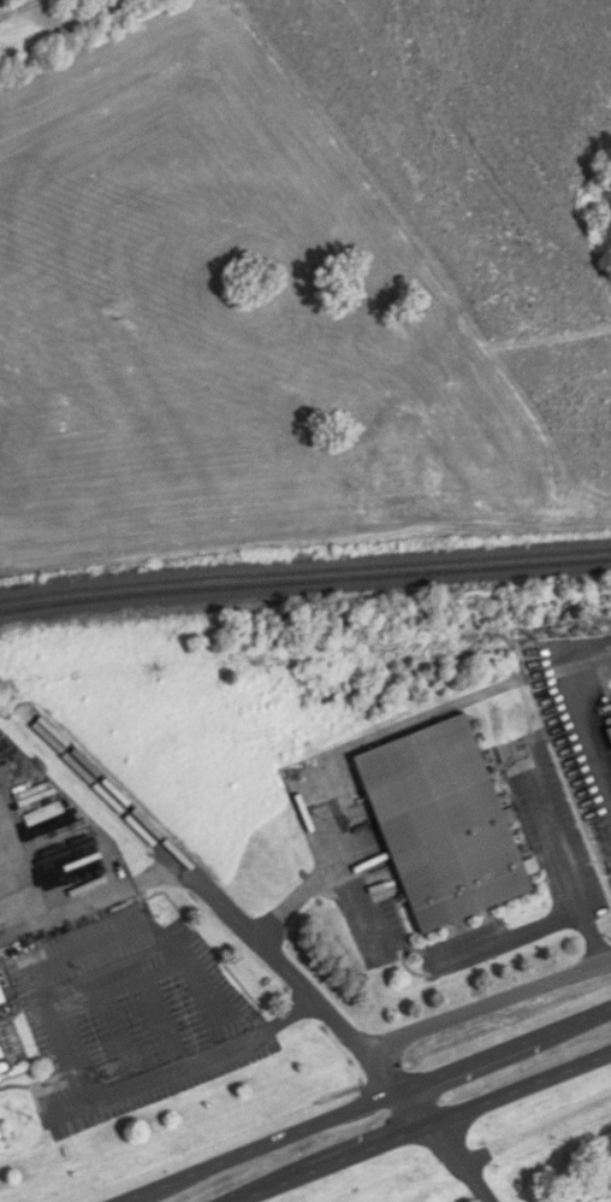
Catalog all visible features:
building: (384, 477)
road: (168, 540)
railway: (304, 572)
railway: (304, 583)
road: (583, 723)
building: (610, 729)
building: (445, 825)
road: (560, 859)
road: (327, 877)
road: (66, 906)
road: (508, 939)
road: (291, 977)
building: (2, 994)
road: (488, 1004)
road: (64, 1041)
building: (4, 1061)
road: (369, 1104)
road: (428, 1131)
building: (1, 1133)
road: (446, 1147)
road: (485, 1150)

